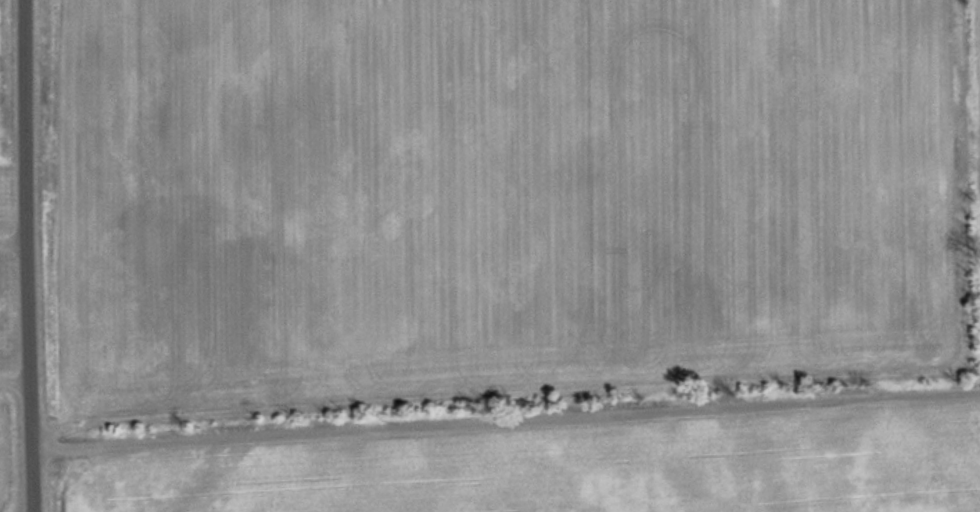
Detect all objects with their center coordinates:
road: (26, 256)
road: (505, 415)

